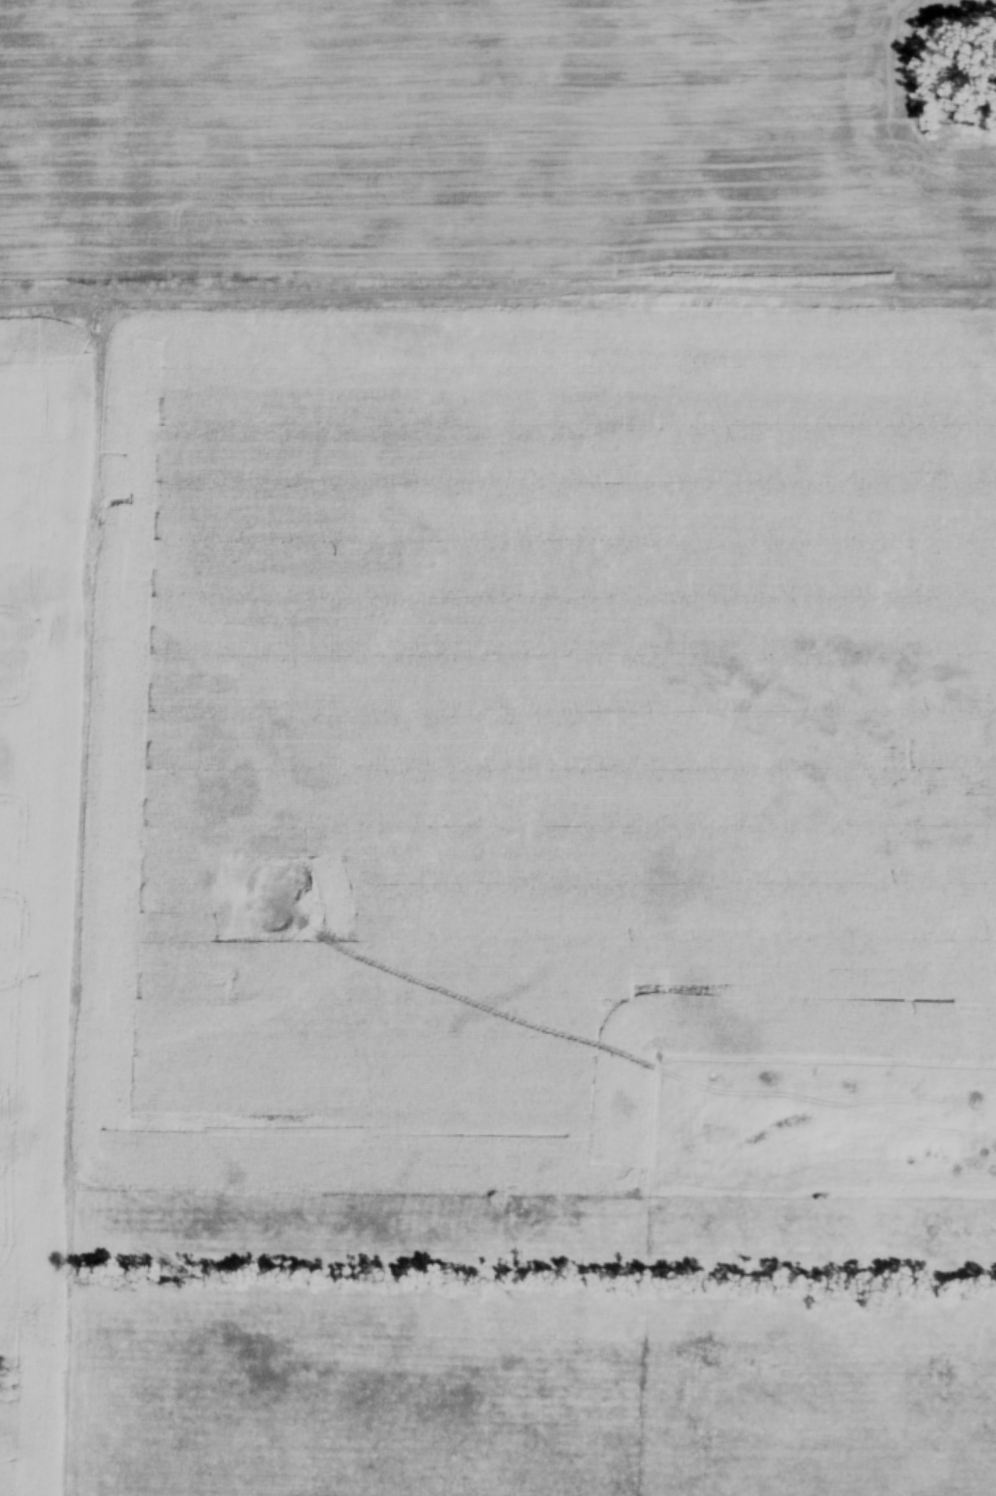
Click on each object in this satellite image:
road: (497, 293)

